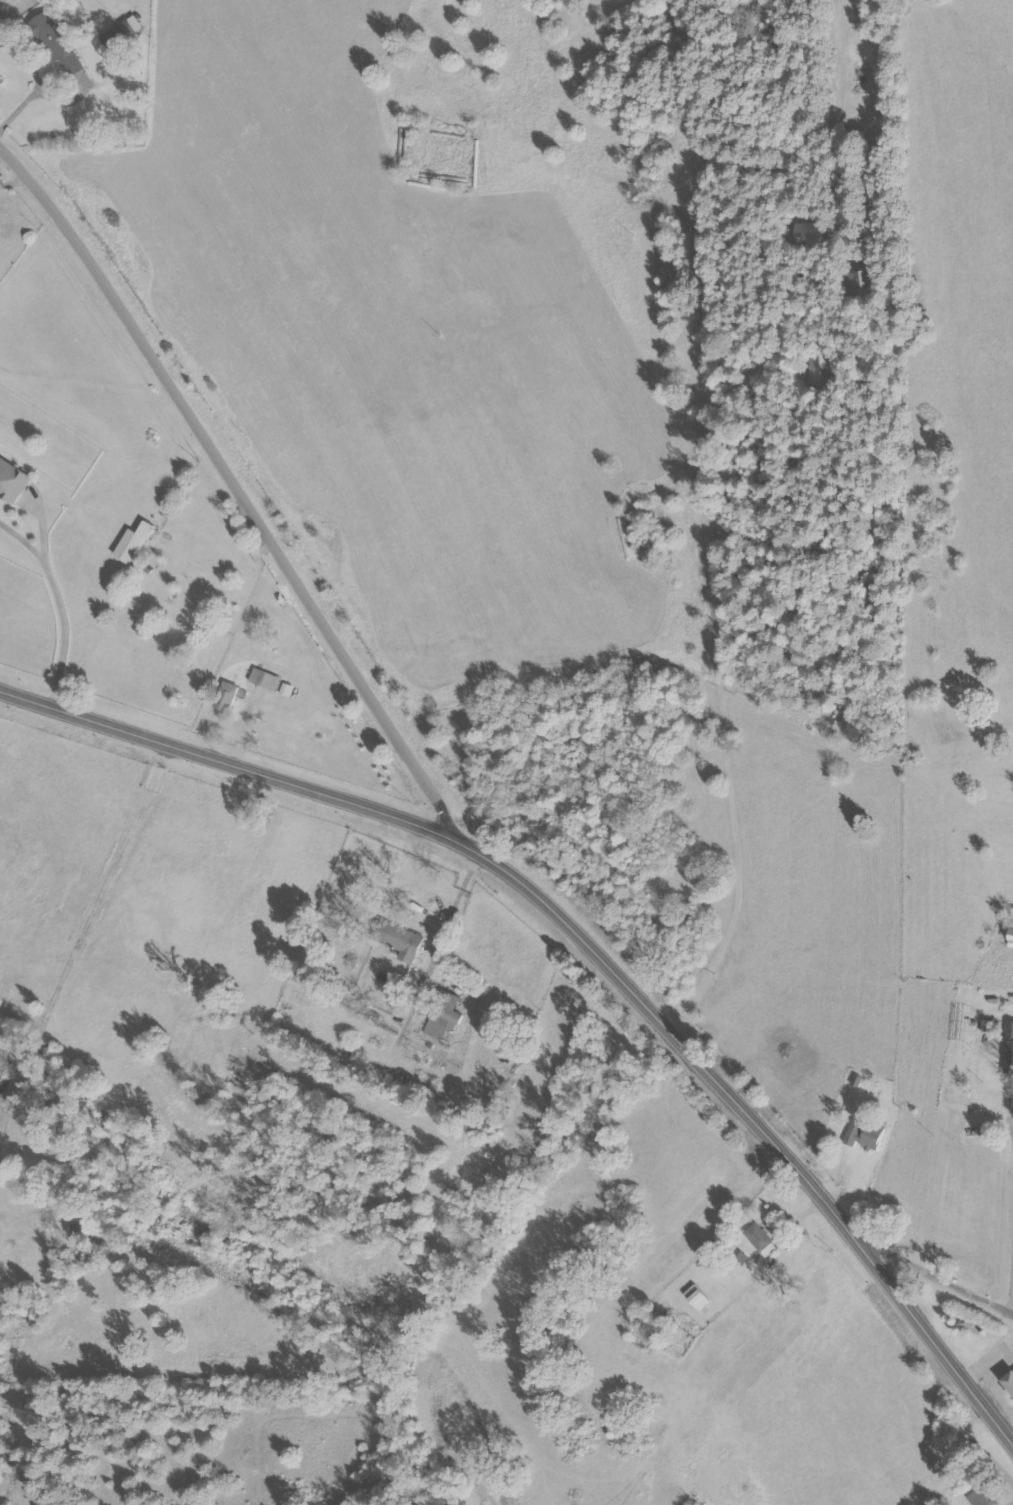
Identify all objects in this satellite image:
building: (64, 44)
building: (807, 233)
building: (861, 282)
building: (816, 369)
building: (11, 482)
road: (238, 490)
building: (132, 543)
building: (264, 679)
building: (224, 696)
building: (1011, 914)
building: (398, 940)
building: (1010, 940)
road: (590, 945)
building: (443, 1016)
building: (987, 1025)
building: (863, 1134)
building: (760, 1240)
road: (929, 1271)
building: (979, 1330)
building: (1011, 1384)
building: (979, 1497)

